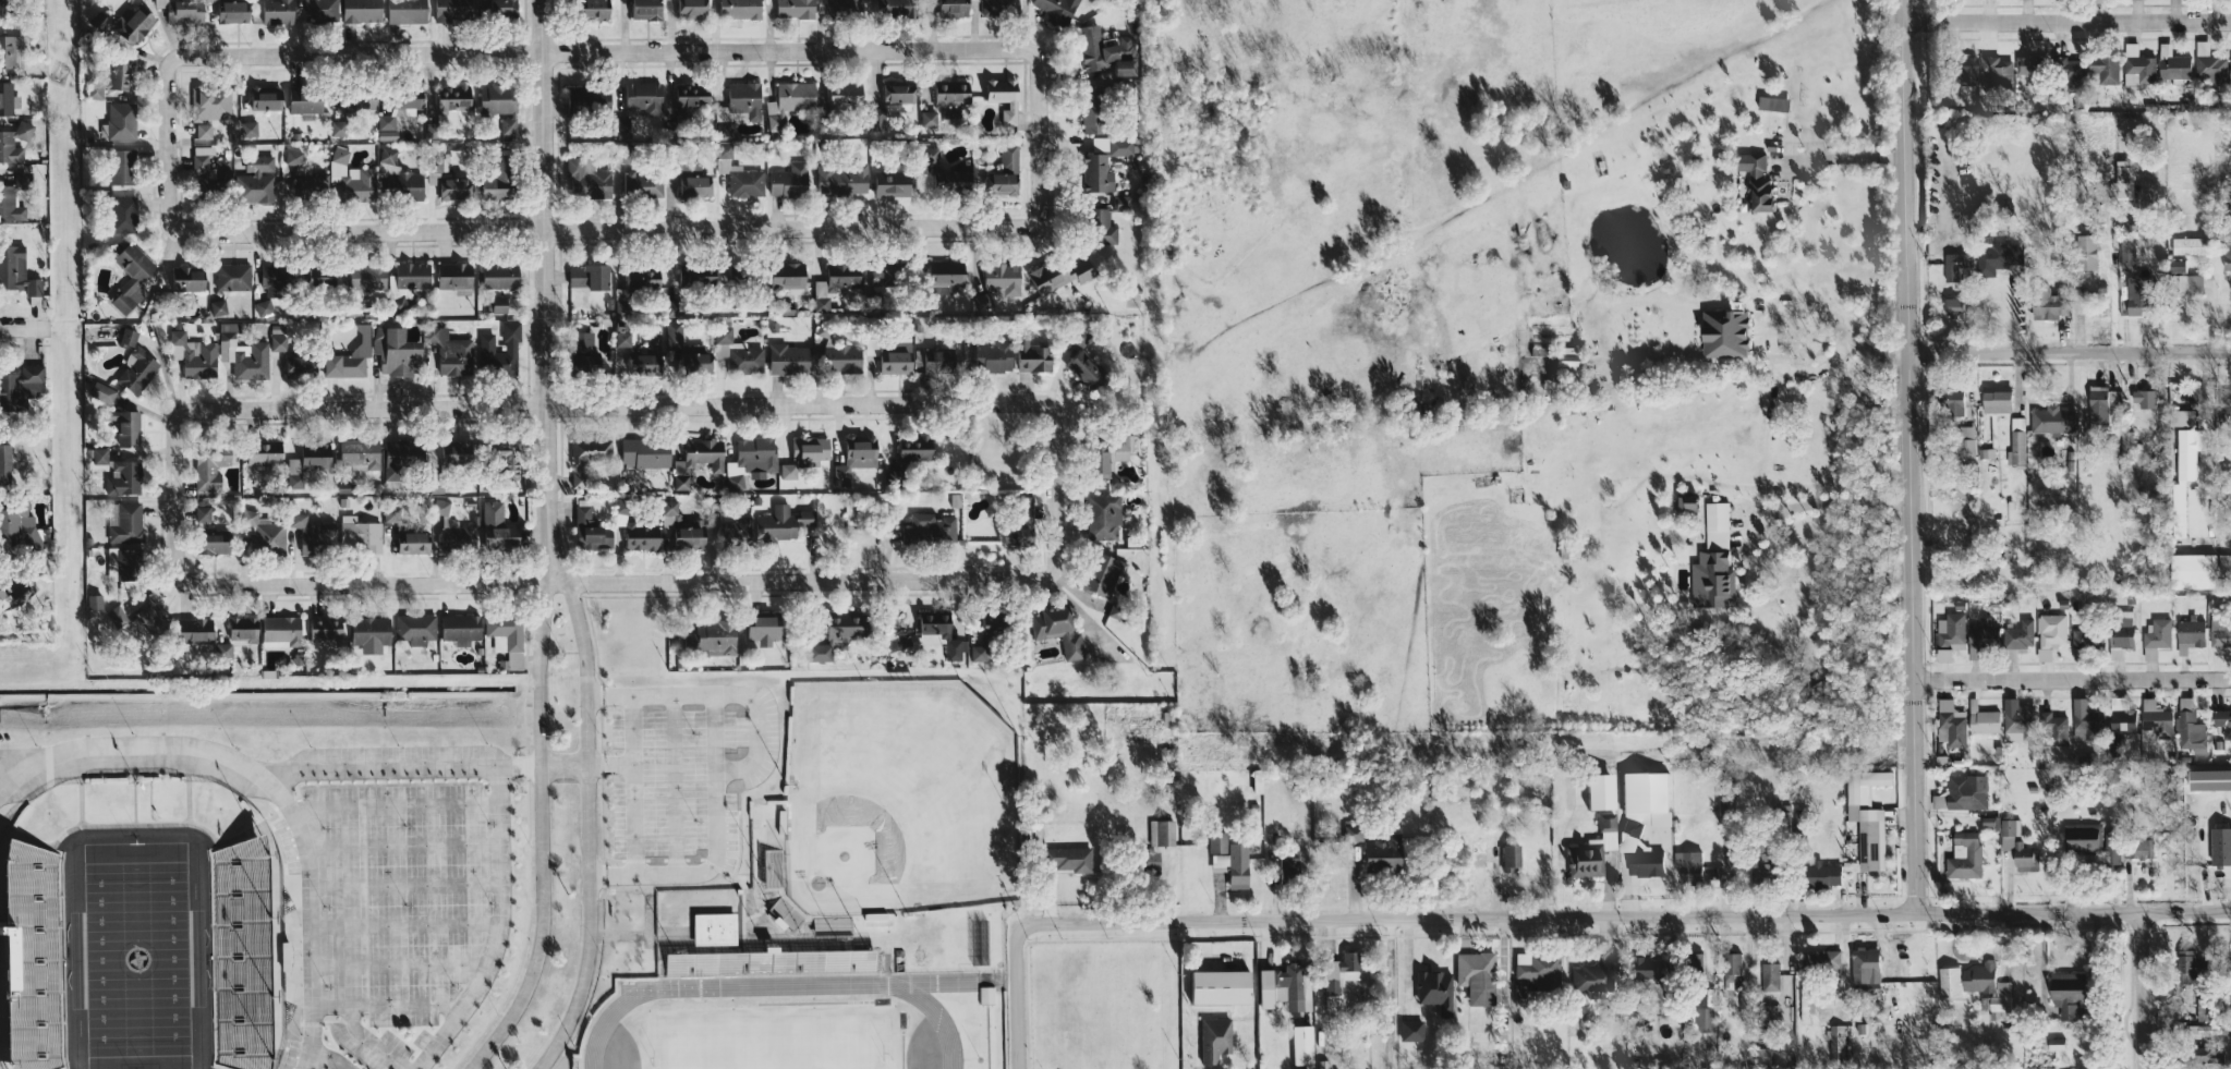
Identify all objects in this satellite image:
building: (998, 4)
building: (7, 7)
building: (842, 7)
building: (890, 7)
building: (688, 8)
building: (948, 8)
building: (498, 9)
building: (736, 9)
building: (792, 9)
building: (449, 10)
building: (587, 10)
building: (640, 10)
building: (1054, 10)
building: (181, 11)
building: (274, 11)
building: (318, 11)
building: (357, 11)
building: (402, 11)
building: (226, 12)
road: (2065, 20)
building: (124, 26)
building: (1123, 47)
road: (602, 50)
building: (13, 51)
building: (1098, 53)
building: (2136, 61)
building: (2171, 62)
building: (2230, 63)
building: (2026, 64)
building: (2208, 64)
building: (2103, 68)
building: (1962, 70)
building: (2068, 71)
building: (1994, 73)
building: (106, 76)
building: (837, 93)
building: (896, 96)
building: (262, 97)
building: (584, 97)
building: (640, 97)
building: (999, 97)
building: (449, 98)
building: (741, 98)
building: (946, 98)
building: (7, 99)
building: (403, 99)
building: (494, 99)
building: (683, 99)
building: (786, 100)
building: (300, 102)
building: (1771, 102)
building: (208, 104)
building: (1090, 109)
building: (926, 118)
building: (118, 120)
building: (874, 120)
building: (383, 122)
building: (245, 127)
building: (506, 127)
building: (618, 127)
building: (201, 131)
building: (14, 143)
building: (925, 154)
building: (198, 157)
road: (1848, 157)
building: (1100, 162)
building: (435, 165)
building: (117, 166)
building: (1002, 172)
building: (737, 175)
building: (253, 178)
building: (304, 178)
building: (351, 178)
building: (396, 178)
building: (584, 179)
building: (839, 179)
building: (493, 180)
building: (688, 180)
building: (786, 180)
building: (1755, 180)
building: (945, 181)
building: (641, 183)
building: (886, 183)
building: (450, 189)
building: (11, 205)
building: (118, 214)
building: (1099, 227)
road: (601, 229)
building: (2228, 242)
building: (2190, 246)
building: (2084, 252)
building: (2125, 253)
building: (1994, 257)
building: (2174, 265)
building: (1954, 266)
building: (19, 270)
building: (268, 274)
building: (885, 274)
building: (126, 275)
building: (408, 275)
building: (450, 275)
building: (496, 275)
building: (690, 275)
building: (1056, 275)
building: (230, 276)
building: (584, 276)
building: (784, 276)
building: (312, 277)
building: (363, 277)
building: (941, 277)
building: (999, 278)
building: (183, 279)
building: (638, 279)
building: (832, 283)
building: (2184, 283)
road: (544, 291)
building: (2135, 295)
building: (496, 303)
building: (2042, 303)
building: (217, 308)
building: (262, 308)
road: (1826, 313)
road: (23, 328)
building: (1722, 332)
building: (620, 338)
building: (276, 343)
road: (2068, 350)
building: (497, 351)
building: (684, 351)
building: (445, 352)
building: (393, 353)
building: (736, 353)
building: (241, 354)
building: (1028, 354)
building: (191, 355)
building: (889, 355)
building: (989, 356)
building: (345, 357)
building: (839, 357)
building: (642, 359)
building: (786, 360)
building: (1562, 360)
building: (931, 361)
building: (133, 365)
building: (295, 365)
building: (1080, 368)
road: (1785, 368)
building: (98, 392)
building: (2143, 398)
building: (1996, 400)
building: (1951, 402)
building: (2097, 403)
road: (613, 404)
building: (2052, 420)
building: (121, 425)
building: (1965, 440)
building: (2016, 441)
building: (1119, 446)
building: (807, 448)
building: (909, 450)
building: (590, 451)
building: (258, 452)
building: (446, 452)
building: (641, 452)
building: (355, 453)
building: (753, 453)
building: (95, 455)
building: (497, 455)
building: (853, 457)
road: (1906, 457)
building: (396, 458)
building: (306, 460)
building: (694, 460)
building: (1096, 462)
building: (7, 464)
building: (206, 469)
building: (786, 471)
building: (2182, 477)
building: (120, 478)
building: (733, 481)
road: (1829, 501)
building: (438, 507)
building: (1023, 511)
building: (199, 513)
building: (667, 513)
building: (1101, 517)
building: (122, 522)
building: (779, 523)
building: (493, 526)
building: (930, 527)
building: (23, 530)
building: (586, 531)
building: (732, 532)
building: (310, 533)
building: (259, 534)
building: (454, 534)
building: (359, 535)
building: (687, 536)
building: (636, 537)
building: (408, 542)
building: (206, 544)
building: (1712, 561)
building: (116, 563)
building: (2227, 568)
building: (2192, 570)
building: (1101, 575)
road: (613, 581)
building: (22, 594)
building: (90, 602)
building: (1937, 609)
building: (143, 614)
building: (113, 616)
building: (837, 625)
building: (985, 625)
building: (325, 628)
building: (244, 629)
building: (415, 629)
building: (460, 629)
building: (760, 629)
building: (195, 630)
building: (1054, 630)
building: (1950, 631)
building: (282, 632)
building: (371, 632)
building: (2220, 632)
building: (2018, 634)
building: (2049, 634)
building: (2188, 634)
building: (943, 636)
building: (1980, 637)
building: (2085, 637)
building: (2119, 637)
building: (2155, 637)
building: (708, 639)
building: (507, 640)
building: (220, 652)
building: (816, 652)
building: (974, 654)
building: (1942, 655)
road: (2071, 677)
building: (2120, 718)
building: (2156, 718)
building: (2084, 720)
building: (1980, 721)
building: (2222, 721)
building: (1950, 724)
building: (2014, 725)
building: (2188, 726)
building: (2056, 730)
parking lot: (397, 756)
road: (14, 758)
road: (610, 763)
road: (563, 764)
road: (403, 767)
road: (739, 768)
parking lot: (688, 777)
road: (270, 783)
road: (634, 785)
building: (1596, 790)
building: (1641, 790)
building: (1965, 791)
park: (898, 798)
building: (1937, 799)
building: (1634, 814)
building: (1866, 817)
stadium: (894, 822)
road: (587, 827)
building: (1629, 827)
building: (1159, 831)
road: (541, 833)
building: (1350, 833)
building: (2082, 837)
building: (2220, 845)
building: (2137, 846)
building: (2017, 848)
building: (1590, 849)
building: (2111, 849)
building: (1477, 852)
building: (1379, 853)
building: (1508, 854)
building: (1963, 854)
building: (1065, 858)
building: (1759, 858)
building: (1226, 859)
building: (1144, 861)
building: (1642, 861)
building: (1284, 864)
road: (1559, 864)
building: (1686, 865)
road: (2097, 867)
building: (1721, 872)
building: (1820, 873)
parking lot: (402, 896)
building: (784, 913)
road: (1789, 916)
road: (1557, 919)
stadium: (141, 928)
road: (498, 928)
building: (711, 928)
road: (618, 934)
park: (137, 948)
road: (1621, 950)
building: (2230, 953)
building: (240, 955)
building: (33, 957)
road: (1711, 957)
building: (1821, 958)
building: (1690, 962)
building: (1864, 962)
building: (764, 964)
building: (2184, 964)
building: (1645, 965)
building: (1731, 968)
building: (1536, 970)
building: (1593, 972)
building: (1769, 975)
building: (1475, 976)
building: (1336, 977)
building: (1964, 979)
building: (1220, 987)
building: (1281, 987)
building: (1433, 988)
building: (2064, 992)
road: (2145, 993)
building: (985, 995)
road: (1391, 995)
building: (2000, 998)
building: (1805, 1006)
building: (2202, 1008)
stadium: (796, 1010)
building: (1576, 1012)
building: (1766, 1015)
building: (1703, 1018)
road: (2071, 1018)
track: (941, 1020)
building: (2202, 1028)
building: (1408, 1030)
track: (773, 1034)
park: (774, 1038)
building: (1213, 1040)
building: (1835, 1041)
parking lot: (426, 1042)
building: (2054, 1042)
building: (1299, 1044)
parking lot: (373, 1045)
building: (1762, 1054)
building: (2203, 1054)
road: (328, 1059)

